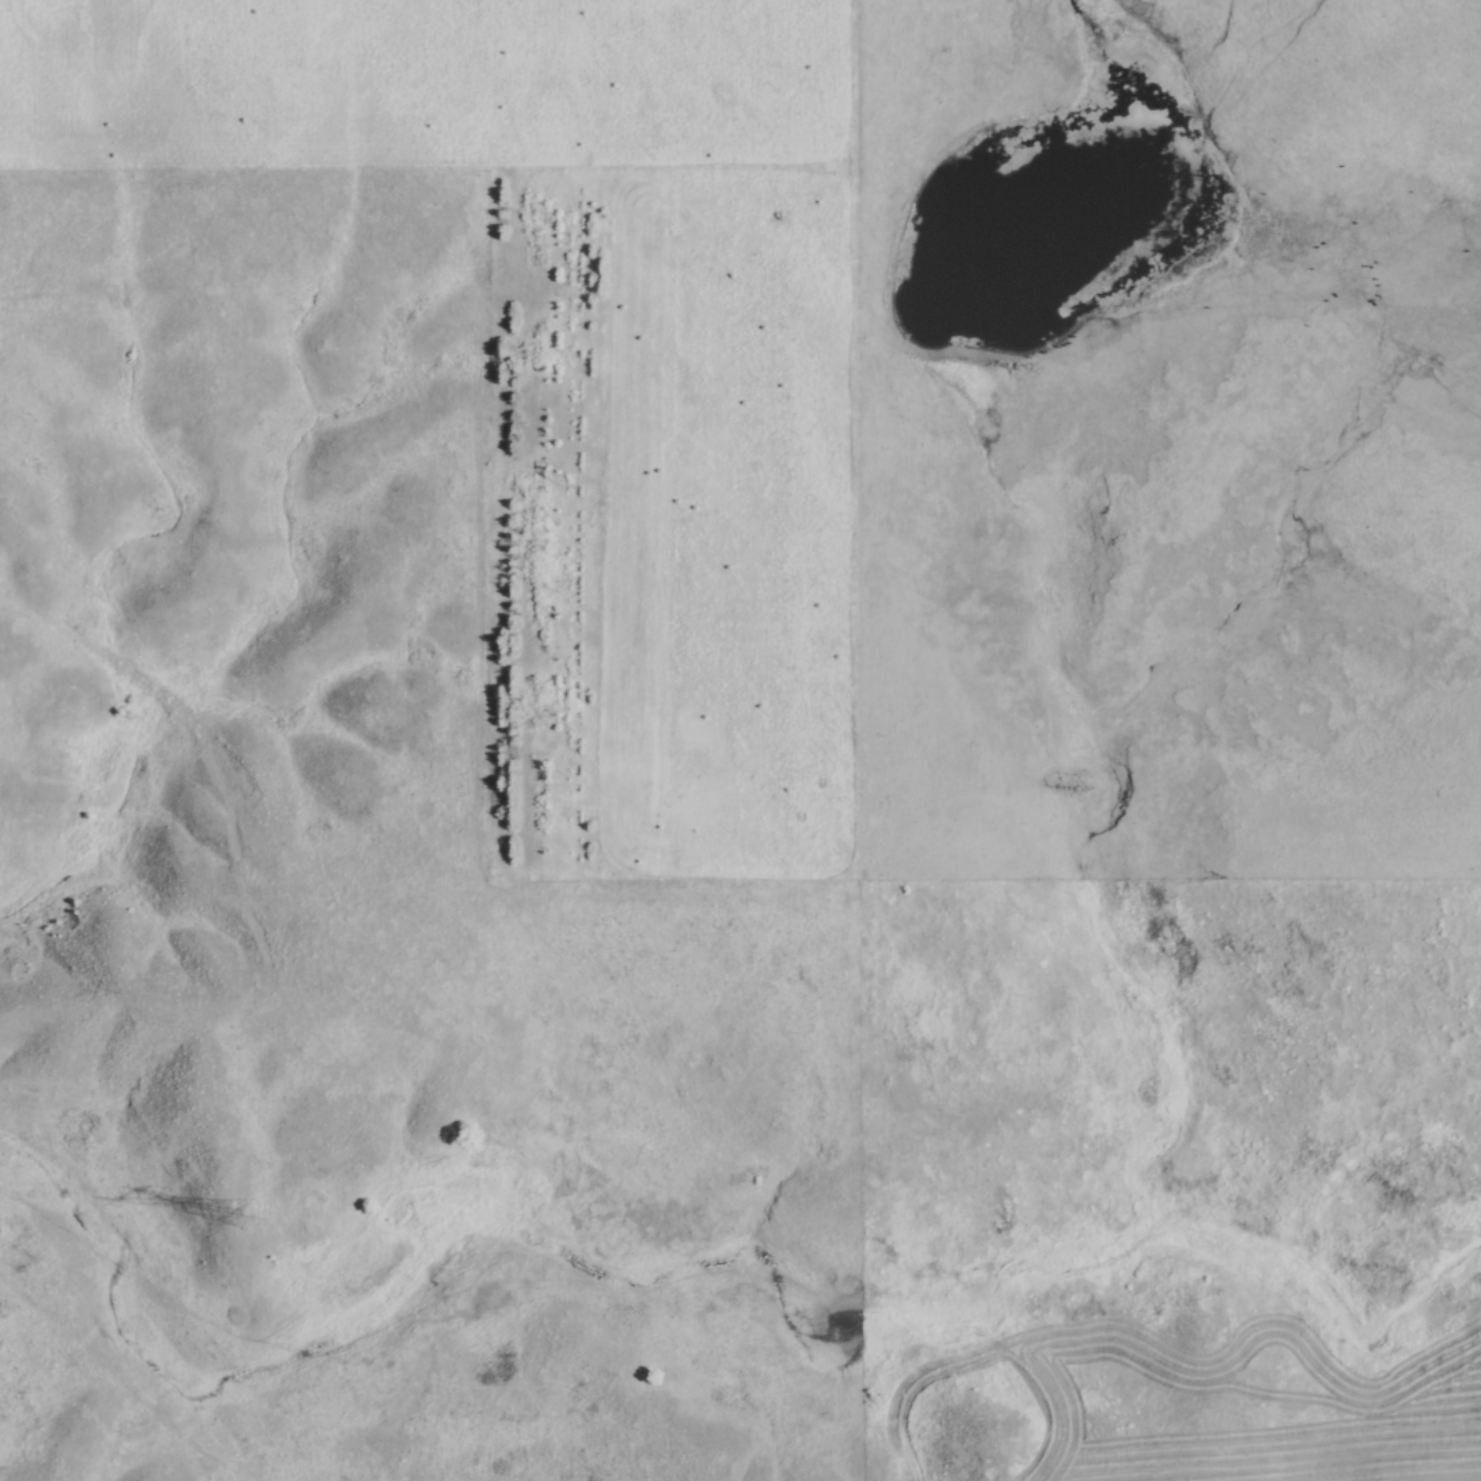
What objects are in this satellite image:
power tower: (245, 1213)

